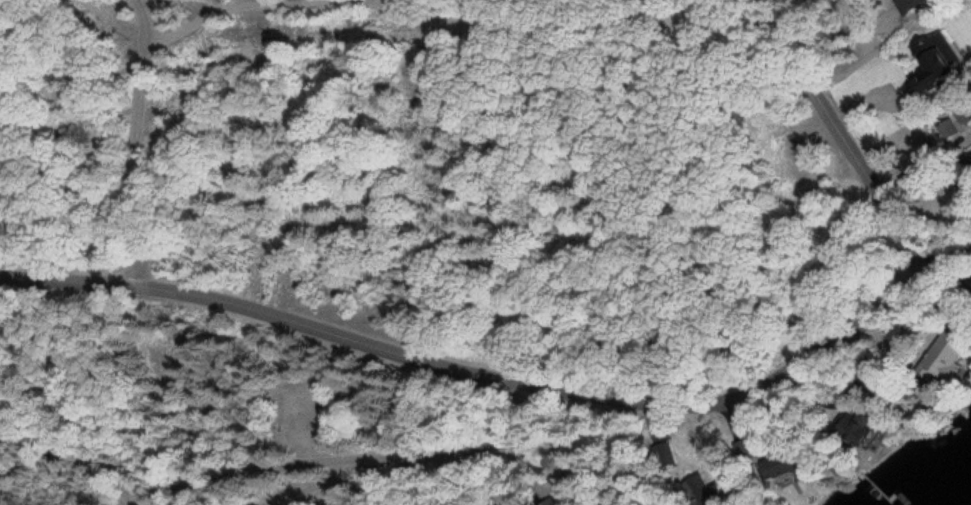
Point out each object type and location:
road: (310, 3)
road: (136, 144)
road: (891, 307)
road: (266, 315)
building: (938, 366)
building: (856, 438)
road: (338, 454)
building: (779, 468)

